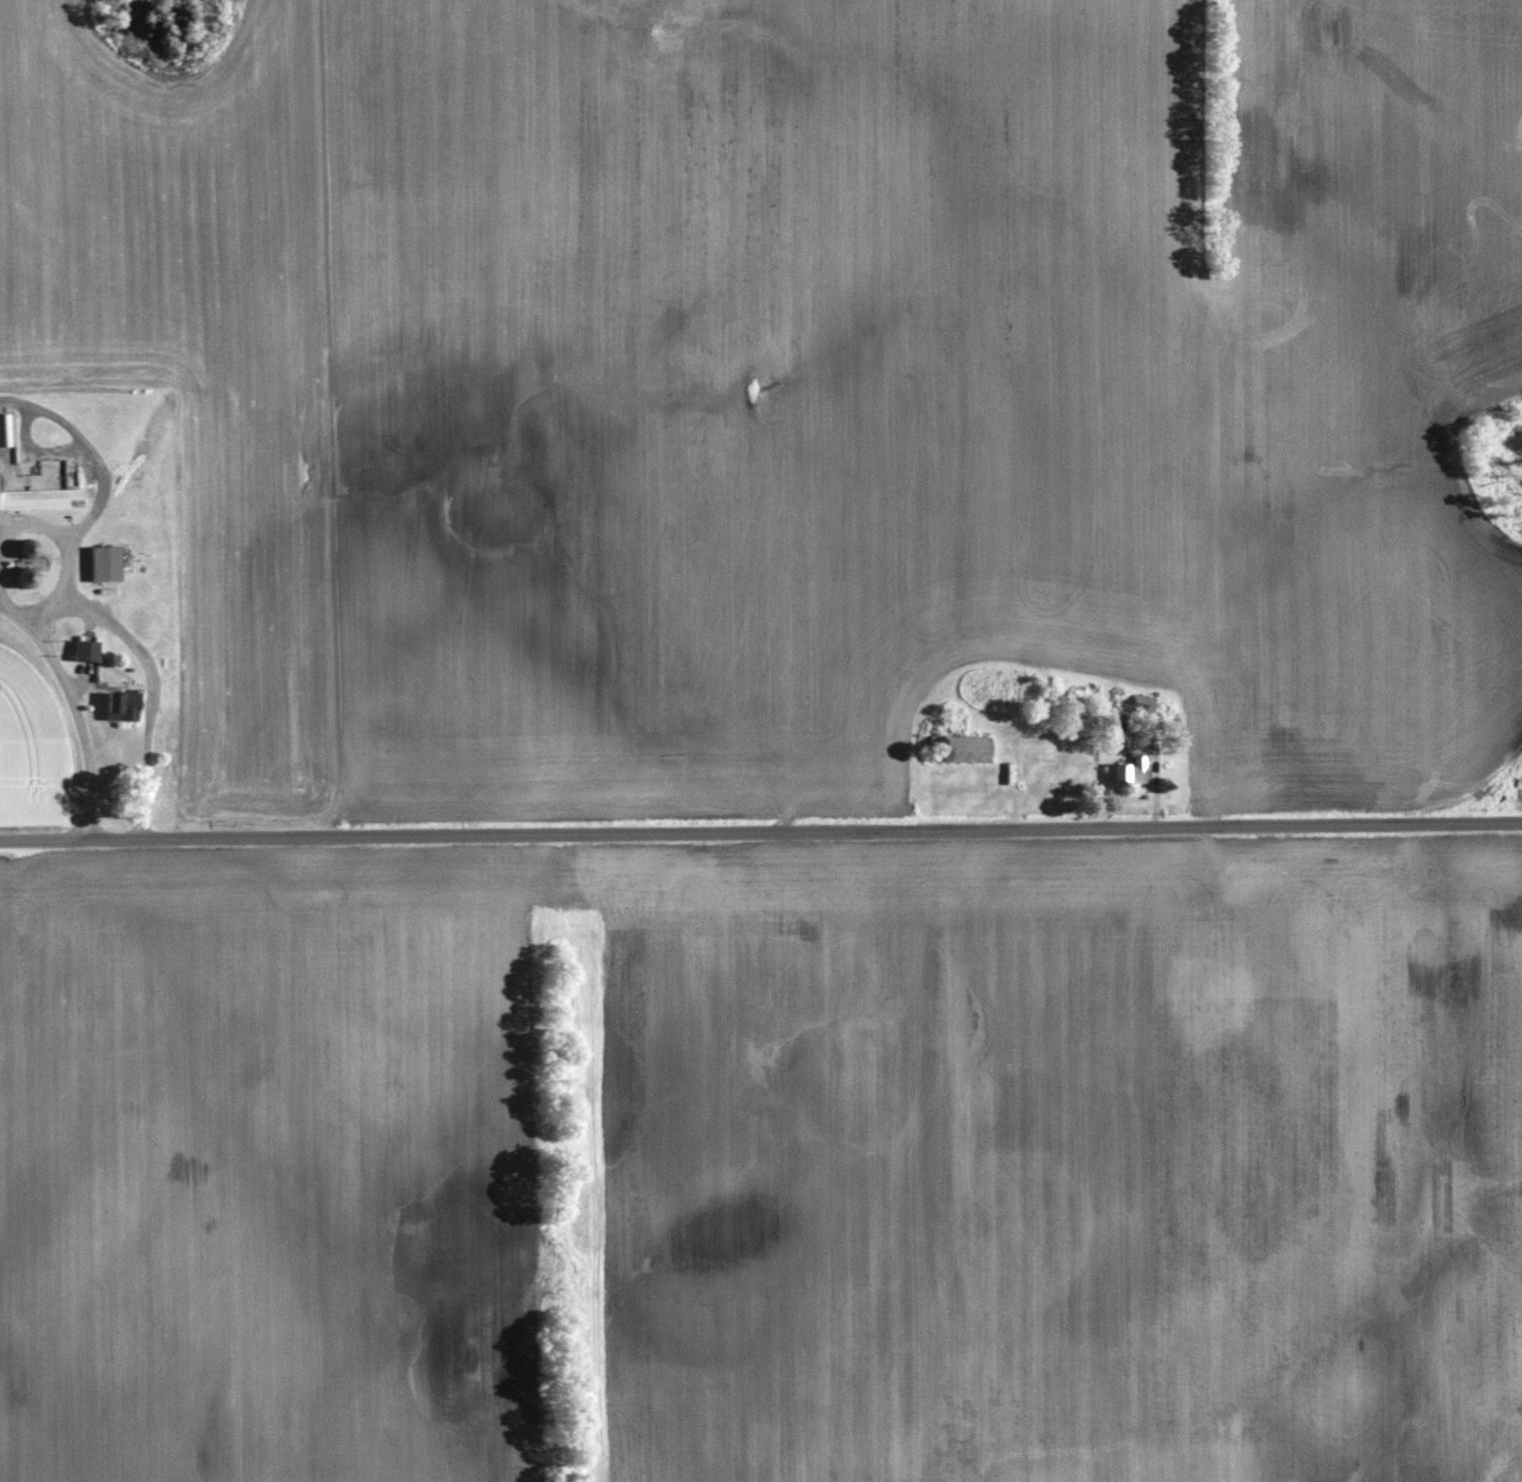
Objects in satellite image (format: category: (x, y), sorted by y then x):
crop: (912, 391)
building: (6, 427)
building: (40, 496)
building: (103, 561)
building: (86, 647)
building: (1140, 700)
building: (122, 703)
building: (957, 746)
building: (1128, 769)
road: (761, 832)

